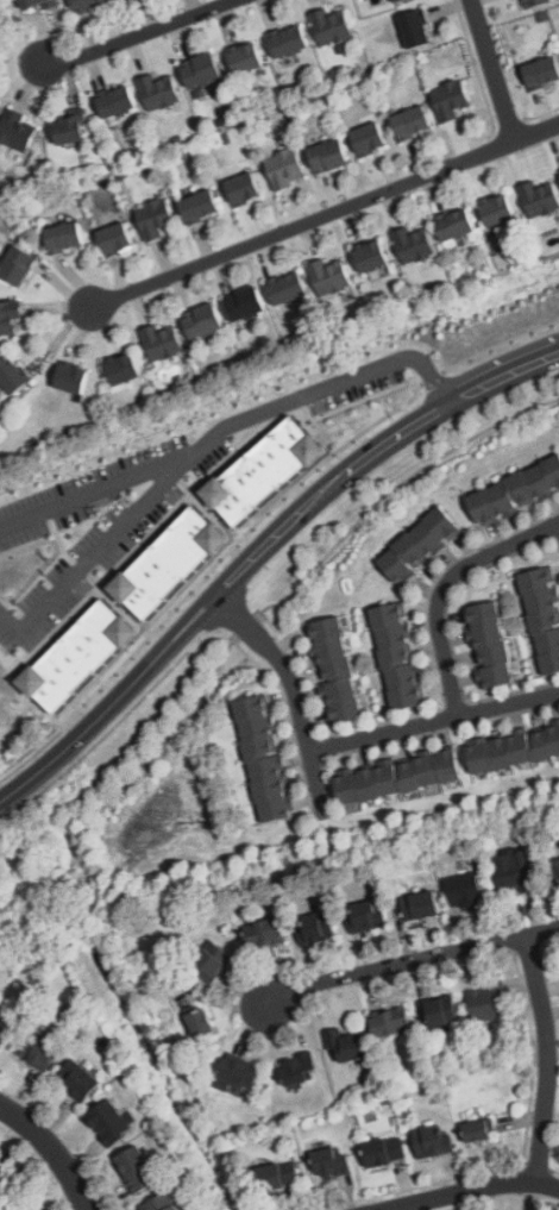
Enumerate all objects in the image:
building: (121, 0)
building: (404, 1)
building: (533, 1)
building: (34, 2)
building: (86, 2)
building: (332, 24)
building: (415, 25)
road: (137, 35)
building: (290, 39)
building: (348, 46)
building: (246, 57)
building: (202, 68)
building: (544, 69)
road: (492, 70)
building: (161, 90)
building: (453, 98)
building: (119, 100)
building: (412, 121)
building: (70, 128)
building: (17, 131)
building: (370, 137)
building: (331, 153)
building: (287, 167)
building: (244, 186)
building: (541, 198)
building: (200, 203)
building: (497, 211)
building: (157, 217)
road: (324, 218)
building: (454, 224)
building: (65, 233)
building: (115, 234)
building: (416, 242)
building: (373, 255)
building: (18, 262)
building: (333, 271)
building: (288, 288)
building: (245, 301)
building: (6, 315)
building: (206, 319)
building: (163, 341)
road: (498, 344)
building: (126, 366)
building: (11, 371)
building: (73, 377)
road: (432, 377)
road: (328, 387)
building: (552, 466)
building: (256, 470)
building: (538, 477)
building: (519, 485)
road: (392, 489)
road: (100, 490)
building: (500, 495)
building: (481, 503)
building: (444, 522)
road: (558, 522)
building: (428, 537)
building: (413, 551)
road: (100, 552)
road: (259, 552)
building: (163, 560)
building: (397, 564)
road: (206, 575)
building: (539, 582)
road: (444, 587)
building: (544, 602)
building: (486, 612)
building: (389, 614)
building: (546, 623)
building: (331, 625)
road: (246, 626)
building: (491, 632)
building: (394, 634)
building: (548, 645)
building: (335, 646)
building: (496, 652)
building: (71, 653)
building: (398, 654)
road: (282, 665)
building: (551, 665)
building: (341, 666)
building: (501, 672)
building: (403, 676)
building: (346, 686)
building: (409, 696)
building: (351, 708)
building: (251, 710)
road: (433, 721)
road: (176, 727)
building: (256, 731)
building: (554, 738)
building: (541, 744)
building: (521, 748)
building: (260, 750)
building: (501, 752)
building: (482, 758)
building: (446, 765)
building: (265, 770)
building: (427, 770)
building: (407, 775)
building: (387, 779)
road: (314, 784)
building: (366, 784)
building: (347, 789)
building: (270, 790)
building: (275, 810)
building: (514, 872)
building: (554, 872)
building: (466, 889)
building: (420, 902)
building: (370, 915)
building: (321, 922)
building: (264, 933)
building: (211, 959)
road: (410, 963)
building: (490, 1001)
building: (444, 1011)
building: (391, 1018)
building: (199, 1024)
building: (2, 1029)
building: (345, 1041)
building: (34, 1052)
road: (547, 1059)
building: (297, 1067)
building: (239, 1072)
building: (77, 1079)
building: (109, 1122)
building: (478, 1128)
building: (434, 1141)
road: (51, 1151)
building: (384, 1151)
building: (331, 1162)
building: (1, 1168)
building: (136, 1168)
building: (279, 1175)
road: (472, 1190)
building: (159, 1203)

